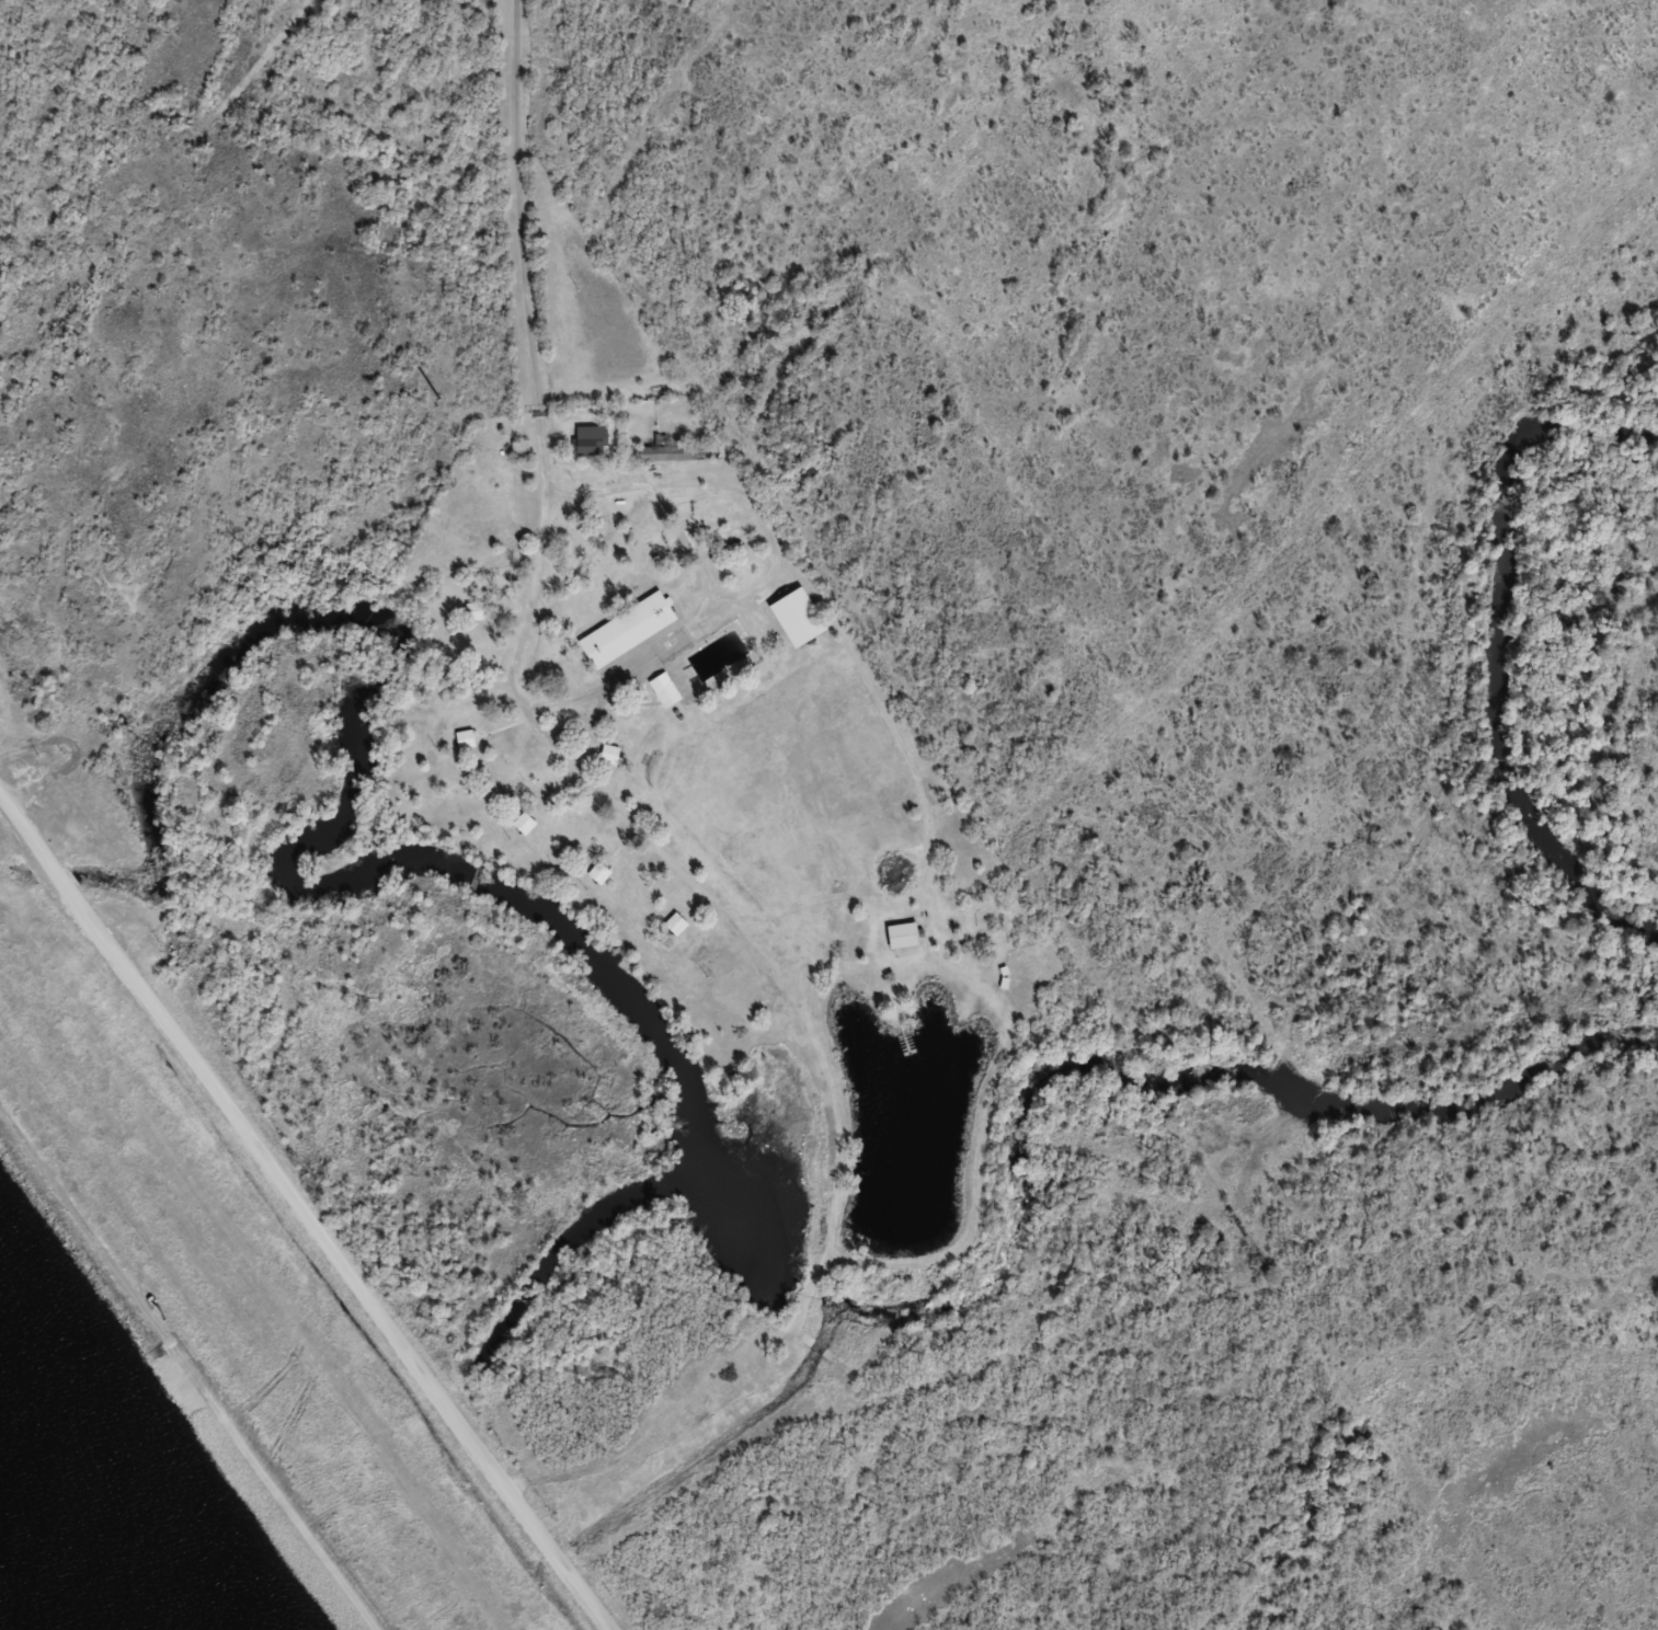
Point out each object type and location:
building: (590, 439)
building: (517, 449)
building: (662, 452)
road: (529, 457)
building: (472, 610)
building: (625, 629)
building: (662, 689)
building: (462, 738)
building: (607, 754)
building: (522, 823)
building: (596, 872)
building: (674, 923)
building: (901, 935)
road: (307, 1212)

